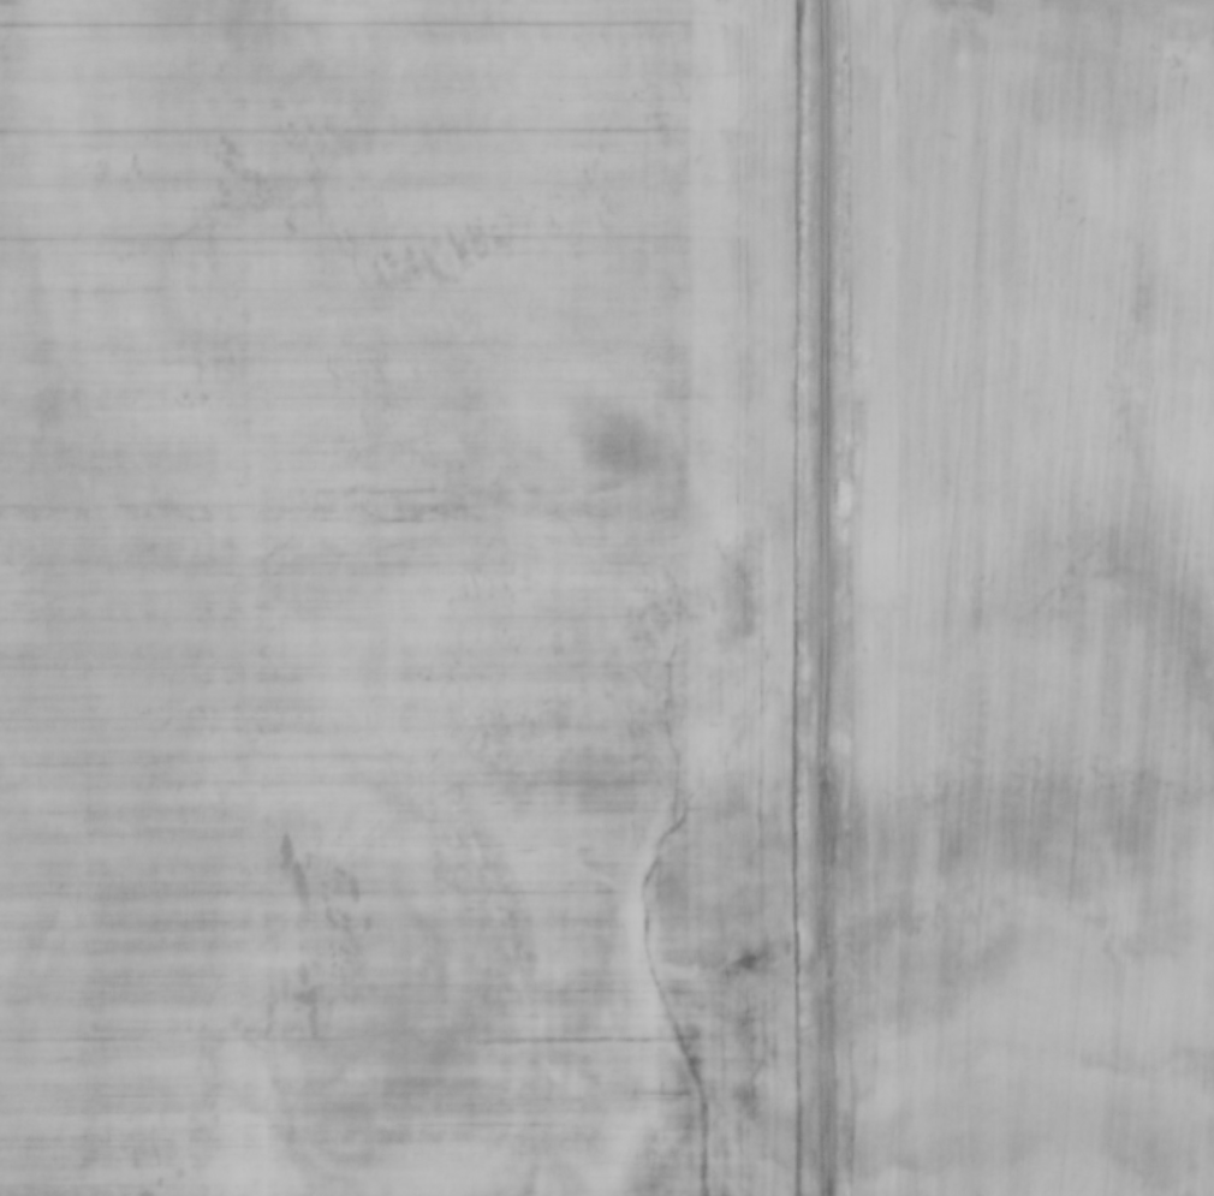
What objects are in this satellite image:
road: (828, 597)

